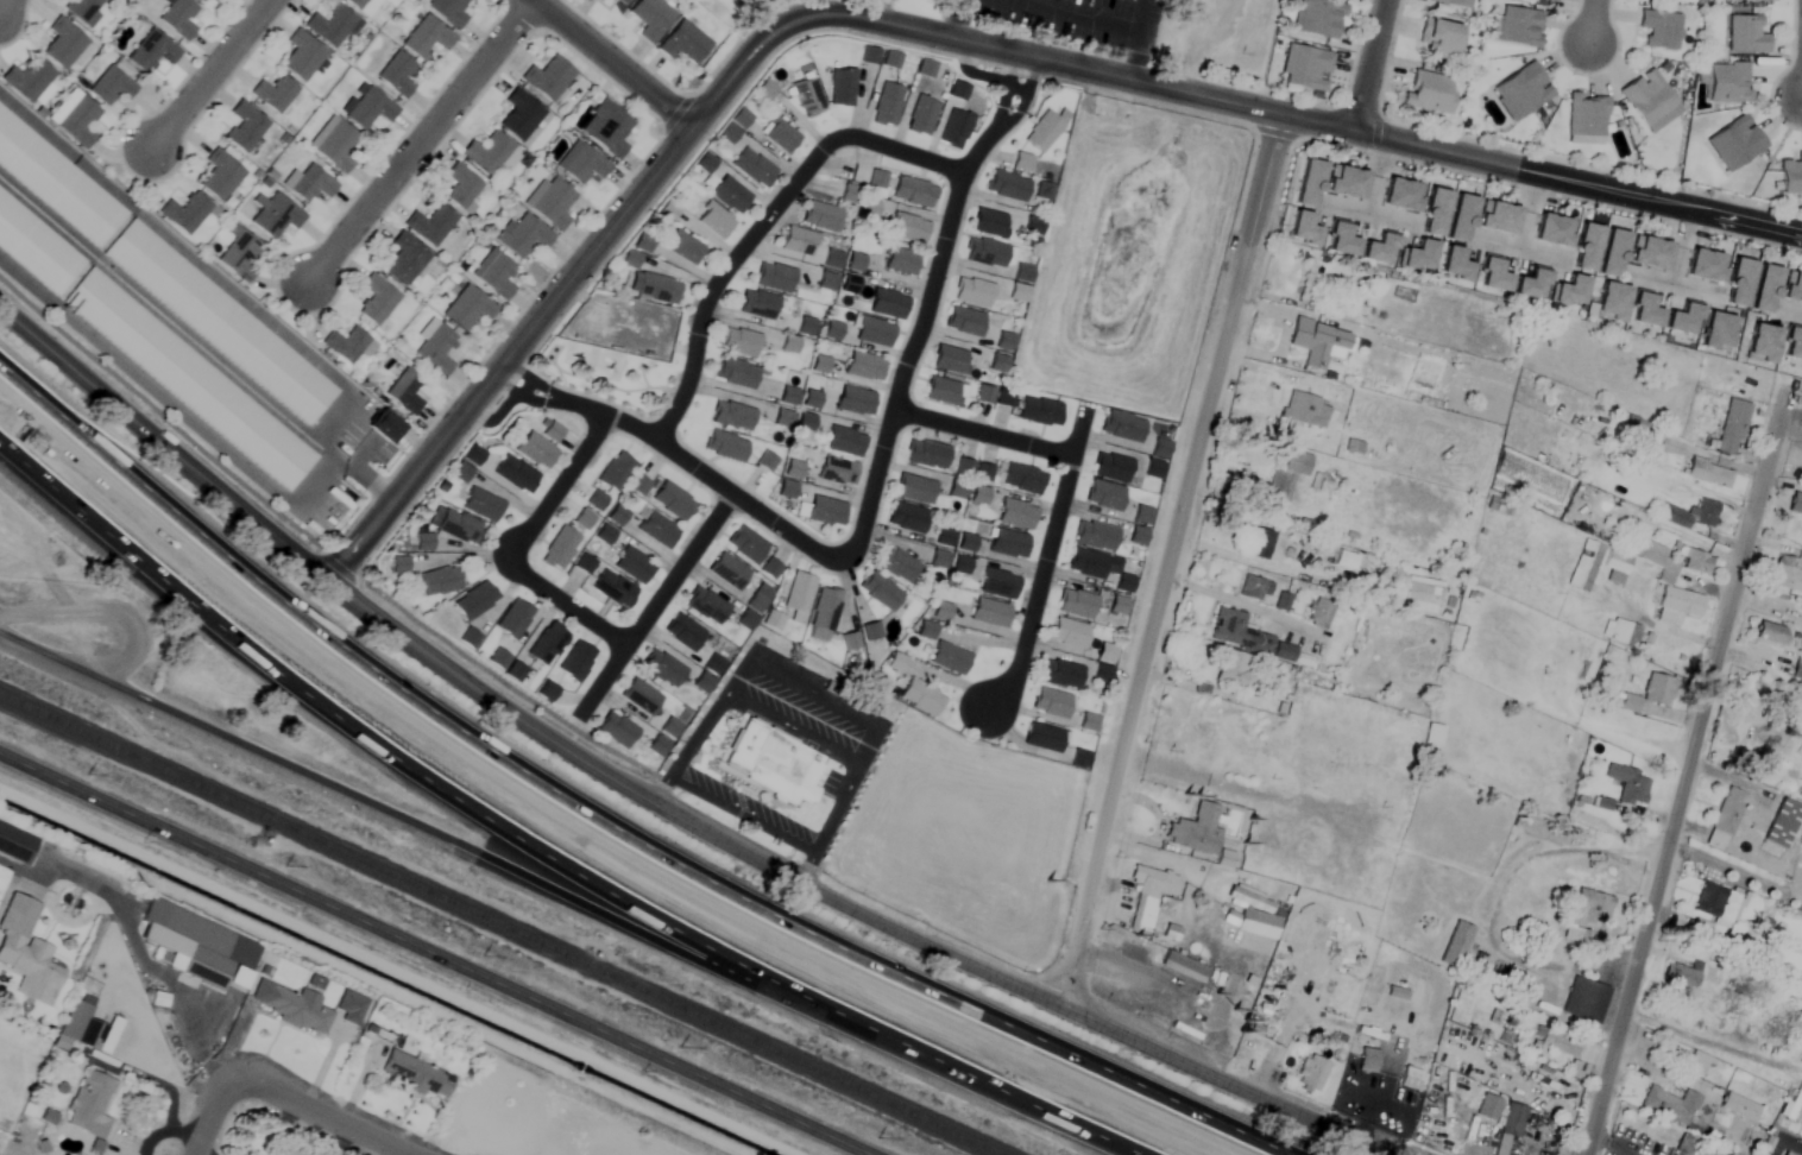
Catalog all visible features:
building: (201, 0)
building: (1554, 0)
building: (1750, 0)
building: (605, 1)
building: (622, 1)
building: (355, 2)
building: (1453, 2)
road: (5, 6)
building: (82, 8)
building: (448, 12)
building: (178, 18)
building: (650, 18)
road: (954, 18)
building: (1317, 18)
road: (1590, 20)
building: (1518, 25)
building: (330, 26)
building: (1659, 29)
park: (1096, 32)
building: (1744, 34)
road: (941, 36)
building: (426, 38)
road: (1136, 39)
building: (1438, 39)
building: (63, 44)
building: (682, 44)
building: (151, 51)
building: (302, 56)
building: (890, 59)
road: (617, 63)
road: (1371, 65)
building: (1304, 68)
road: (215, 75)
building: (396, 75)
building: (548, 78)
building: (29, 80)
building: (1726, 82)
building: (111, 87)
building: (842, 87)
building: (764, 90)
building: (1429, 91)
building: (1520, 91)
building: (273, 93)
building: (808, 97)
building: (1646, 97)
building: (887, 106)
building: (367, 108)
building: (519, 115)
building: (921, 116)
building: (1584, 119)
building: (78, 122)
building: (244, 126)
building: (606, 128)
building: (954, 130)
building: (1042, 132)
building: (780, 135)
road: (423, 141)
building: (1734, 143)
building: (333, 145)
building: (487, 153)
building: (1021, 163)
building: (581, 164)
building: (754, 169)
building: (1791, 175)
building: (220, 176)
building: (876, 179)
building: (1346, 182)
building: (58, 183)
building: (1309, 183)
building: (308, 184)
building: (1007, 185)
building: (460, 187)
building: (1044, 191)
building: (913, 192)
building: (850, 194)
building: (730, 195)
building: (1401, 195)
building: (550, 203)
building: (869, 209)
building: (187, 213)
building: (1435, 213)
building: (275, 215)
building: (821, 216)
building: (1498, 217)
building: (1461, 219)
building: (714, 222)
building: (990, 223)
road: (767, 225)
building: (431, 226)
building: (1033, 226)
building: (908, 228)
building: (1304, 229)
building: (1554, 231)
building: (522, 236)
building: (1341, 240)
building: (799, 242)
building: (37, 247)
building: (683, 247)
building: (1587, 248)
building: (1380, 250)
building: (985, 253)
building: (1650, 253)
building: (239, 254)
building: (1613, 254)
building: (1418, 257)
building: (404, 258)
building: (832, 260)
building: (900, 261)
building: (855, 263)
building: (1455, 265)
building: (1706, 266)
building: (493, 274)
building: (1493, 276)
building: (774, 278)
building: (826, 282)
building: (1738, 283)
building: (1308, 284)
building: (849, 285)
building: (1532, 285)
building: (654, 288)
building: (1765, 289)
building: (1792, 289)
building: (972, 292)
building: (1571, 292)
building: (376, 299)
building: (1612, 302)
building: (888, 304)
building: (757, 305)
building: (467, 308)
building: (1645, 311)
road: (928, 313)
building: (1684, 320)
building: (964, 321)
building: (222, 323)
building: (806, 327)
building: (1718, 332)
building: (874, 333)
building: (739, 343)
building: (1318, 343)
building: (346, 345)
building: (789, 345)
building: (1763, 345)
building: (1792, 345)
building: (435, 349)
building: (950, 360)
building: (864, 366)
building: (735, 373)
building: (191, 380)
building: (404, 392)
building: (945, 392)
building: (984, 395)
building: (1006, 398)
building: (811, 400)
building: (855, 402)
building: (1306, 409)
building: (1039, 411)
building: (732, 416)
building: (384, 427)
building: (1122, 427)
building: (1732, 427)
building: (552, 431)
road: (987, 435)
building: (1642, 441)
building: (844, 442)
building: (725, 447)
building: (1159, 449)
building: (535, 450)
building: (926, 455)
building: (472, 456)
road: (672, 459)
building: (765, 460)
building: (1111, 468)
building: (793, 469)
building: (1153, 469)
building: (616, 472)
building: (837, 472)
building: (1706, 472)
building: (516, 474)
building: (1286, 475)
building: (1021, 479)
building: (638, 486)
building: (914, 490)
building: (786, 491)
building: (957, 491)
road: (559, 494)
building: (1104, 496)
building: (596, 501)
building: (673, 503)
building: (1795, 504)
building: (481, 505)
building: (1499, 506)
building: (825, 512)
building: (1015, 515)
building: (1689, 515)
building: (617, 516)
building: (906, 518)
building: (582, 520)
building: (459, 528)
building: (657, 530)
building: (1095, 536)
building: (944, 538)
building: (1008, 544)
building: (1261, 544)
building: (745, 545)
building: (560, 549)
building: (939, 561)
building: (1671, 561)
road: (1048, 562)
road: (1172, 562)
building: (1086, 564)
building: (632, 566)
building: (895, 566)
building: (960, 567)
building: (1584, 567)
building: (1615, 568)
building: (770, 570)
building: (727, 572)
building: (1785, 574)
building: (439, 582)
building: (998, 585)
building: (1123, 585)
building: (1252, 588)
building: (613, 589)
building: (880, 592)
building: (1422, 595)
building: (799, 598)
building: (474, 601)
road: (1241, 602)
building: (756, 604)
building: (706, 605)
building: (1076, 605)
building: (1119, 605)
building: (1681, 606)
road: (659, 607)
building: (825, 610)
road: (112, 612)
road: (566, 612)
building: (940, 612)
building: (989, 613)
building: (1321, 613)
building: (513, 619)
building: (683, 632)
building: (870, 632)
building: (1069, 633)
building: (1239, 633)
building: (1623, 633)
building: (1772, 635)
building: (468, 639)
building: (548, 643)
road: (37, 649)
building: (950, 658)
building: (498, 659)
building: (575, 661)
building: (896, 663)
building: (662, 668)
building: (1797, 669)
building: (1235, 671)
building: (515, 673)
building: (1059, 674)
building: (546, 689)
road: (817, 689)
building: (1657, 689)
building: (641, 696)
building: (921, 698)
building: (1051, 702)
building: (616, 730)
building: (1042, 737)
building: (789, 759)
road: (1690, 770)
building: (1627, 784)
road: (1237, 789)
road: (653, 801)
road: (388, 810)
building: (1725, 818)
building: (1782, 822)
road: (601, 823)
building: (1196, 829)
building: (15, 845)
road: (542, 852)
building: (1224, 859)
road: (95, 888)
road: (1495, 895)
building: (1147, 897)
building: (1718, 903)
building: (1252, 913)
building: (1586, 914)
railway: (506, 923)
railway: (464, 940)
building: (26, 948)
building: (202, 948)
road: (436, 954)
building: (1186, 961)
building: (1512, 974)
building: (1678, 977)
road: (169, 985)
building: (1412, 987)
building: (1350, 989)
building: (1403, 996)
building: (1592, 996)
building: (294, 1009)
building: (86, 1029)
road: (1712, 1040)
building: (1552, 1044)
road: (200, 1047)
building: (1371, 1053)
crop: (29, 1060)
building: (1696, 1064)
building: (1311, 1073)
building: (1414, 1073)
building: (416, 1074)
building: (1792, 1102)
building: (1669, 1104)
building: (89, 1105)
building: (1738, 1105)
building: (1487, 1107)
road: (212, 1116)
road: (314, 1116)
building: (1512, 1123)
building: (1801, 1126)
building: (1759, 1140)
road: (1785, 1143)
building: (1671, 1151)
building: (1794, 1151)
building: (1785, 1154)

